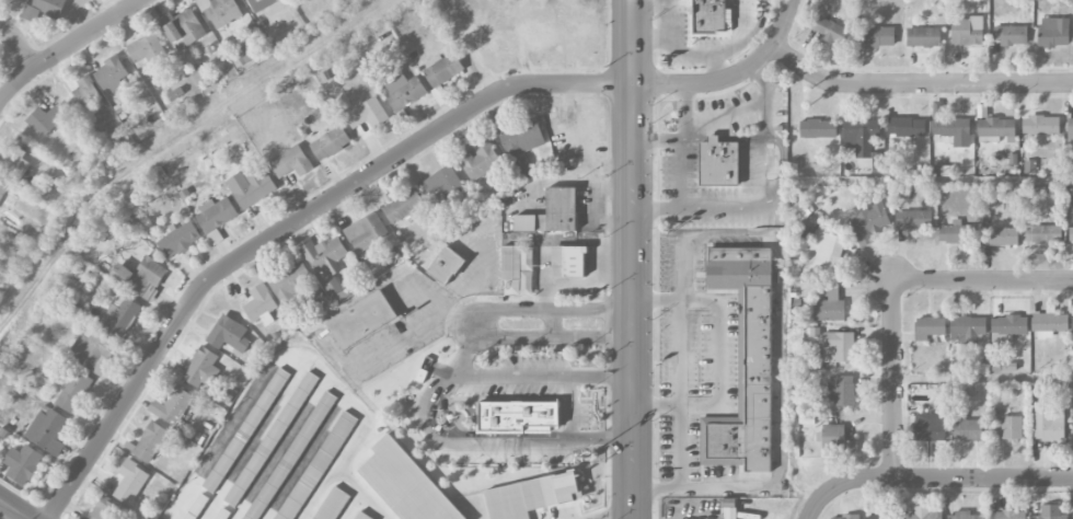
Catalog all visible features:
building: (241, 0)
building: (261, 4)
building: (44, 9)
building: (220, 12)
building: (711, 16)
building: (183, 27)
building: (967, 30)
building: (832, 32)
building: (1053, 32)
building: (1011, 35)
building: (879, 37)
building: (924, 37)
building: (480, 41)
road: (18, 45)
road: (67, 46)
building: (146, 49)
building: (243, 56)
building: (442, 69)
building: (111, 74)
road: (732, 78)
road: (916, 83)
building: (404, 92)
building: (84, 94)
road: (765, 99)
road: (685, 112)
building: (367, 114)
road: (727, 114)
building: (45, 119)
building: (1040, 125)
building: (907, 127)
building: (818, 128)
building: (950, 128)
building: (995, 129)
building: (1070, 130)
building: (861, 136)
building: (522, 137)
road: (657, 139)
road: (694, 139)
road: (714, 139)
building: (330, 143)
road: (589, 150)
building: (480, 160)
building: (14, 161)
building: (291, 162)
building: (718, 162)
building: (521, 166)
road: (762, 172)
building: (443, 182)
building: (254, 185)
road: (780, 187)
building: (3, 188)
road: (681, 196)
building: (403, 206)
building: (558, 210)
building: (216, 218)
building: (913, 219)
building: (868, 220)
road: (290, 228)
building: (367, 232)
building: (957, 233)
building: (1043, 234)
building: (1071, 234)
building: (1000, 237)
building: (178, 240)
building: (324, 254)
building: (826, 255)
road: (632, 258)
building: (568, 261)
building: (446, 265)
building: (518, 270)
building: (141, 277)
road: (982, 279)
building: (291, 284)
building: (333, 286)
building: (829, 303)
building: (259, 304)
building: (120, 315)
building: (362, 320)
road: (464, 323)
road: (552, 323)
building: (1049, 323)
building: (1072, 325)
building: (928, 327)
building: (969, 327)
building: (1007, 330)
building: (229, 334)
road: (778, 334)
building: (838, 347)
building: (93, 350)
road: (465, 353)
road: (719, 354)
road: (302, 355)
building: (745, 362)
building: (199, 367)
road: (679, 376)
road: (892, 379)
building: (71, 390)
building: (841, 390)
building: (172, 405)
road: (575, 407)
road: (422, 410)
building: (518, 416)
building: (1048, 423)
building: (930, 426)
building: (1008, 427)
building: (47, 429)
building: (246, 430)
building: (272, 439)
building: (837, 439)
building: (150, 441)
road: (679, 447)
building: (22, 463)
building: (318, 466)
road: (932, 477)
building: (130, 482)
building: (405, 483)
building: (532, 495)
building: (331, 504)
building: (198, 507)
road: (1, 508)
building: (106, 510)
road: (11, 511)
road: (612, 512)
building: (1050, 512)
building: (222, 514)
building: (924, 515)
building: (1007, 515)
building: (362, 516)
building: (882, 516)
building: (964, 516)
building: (845, 517)

